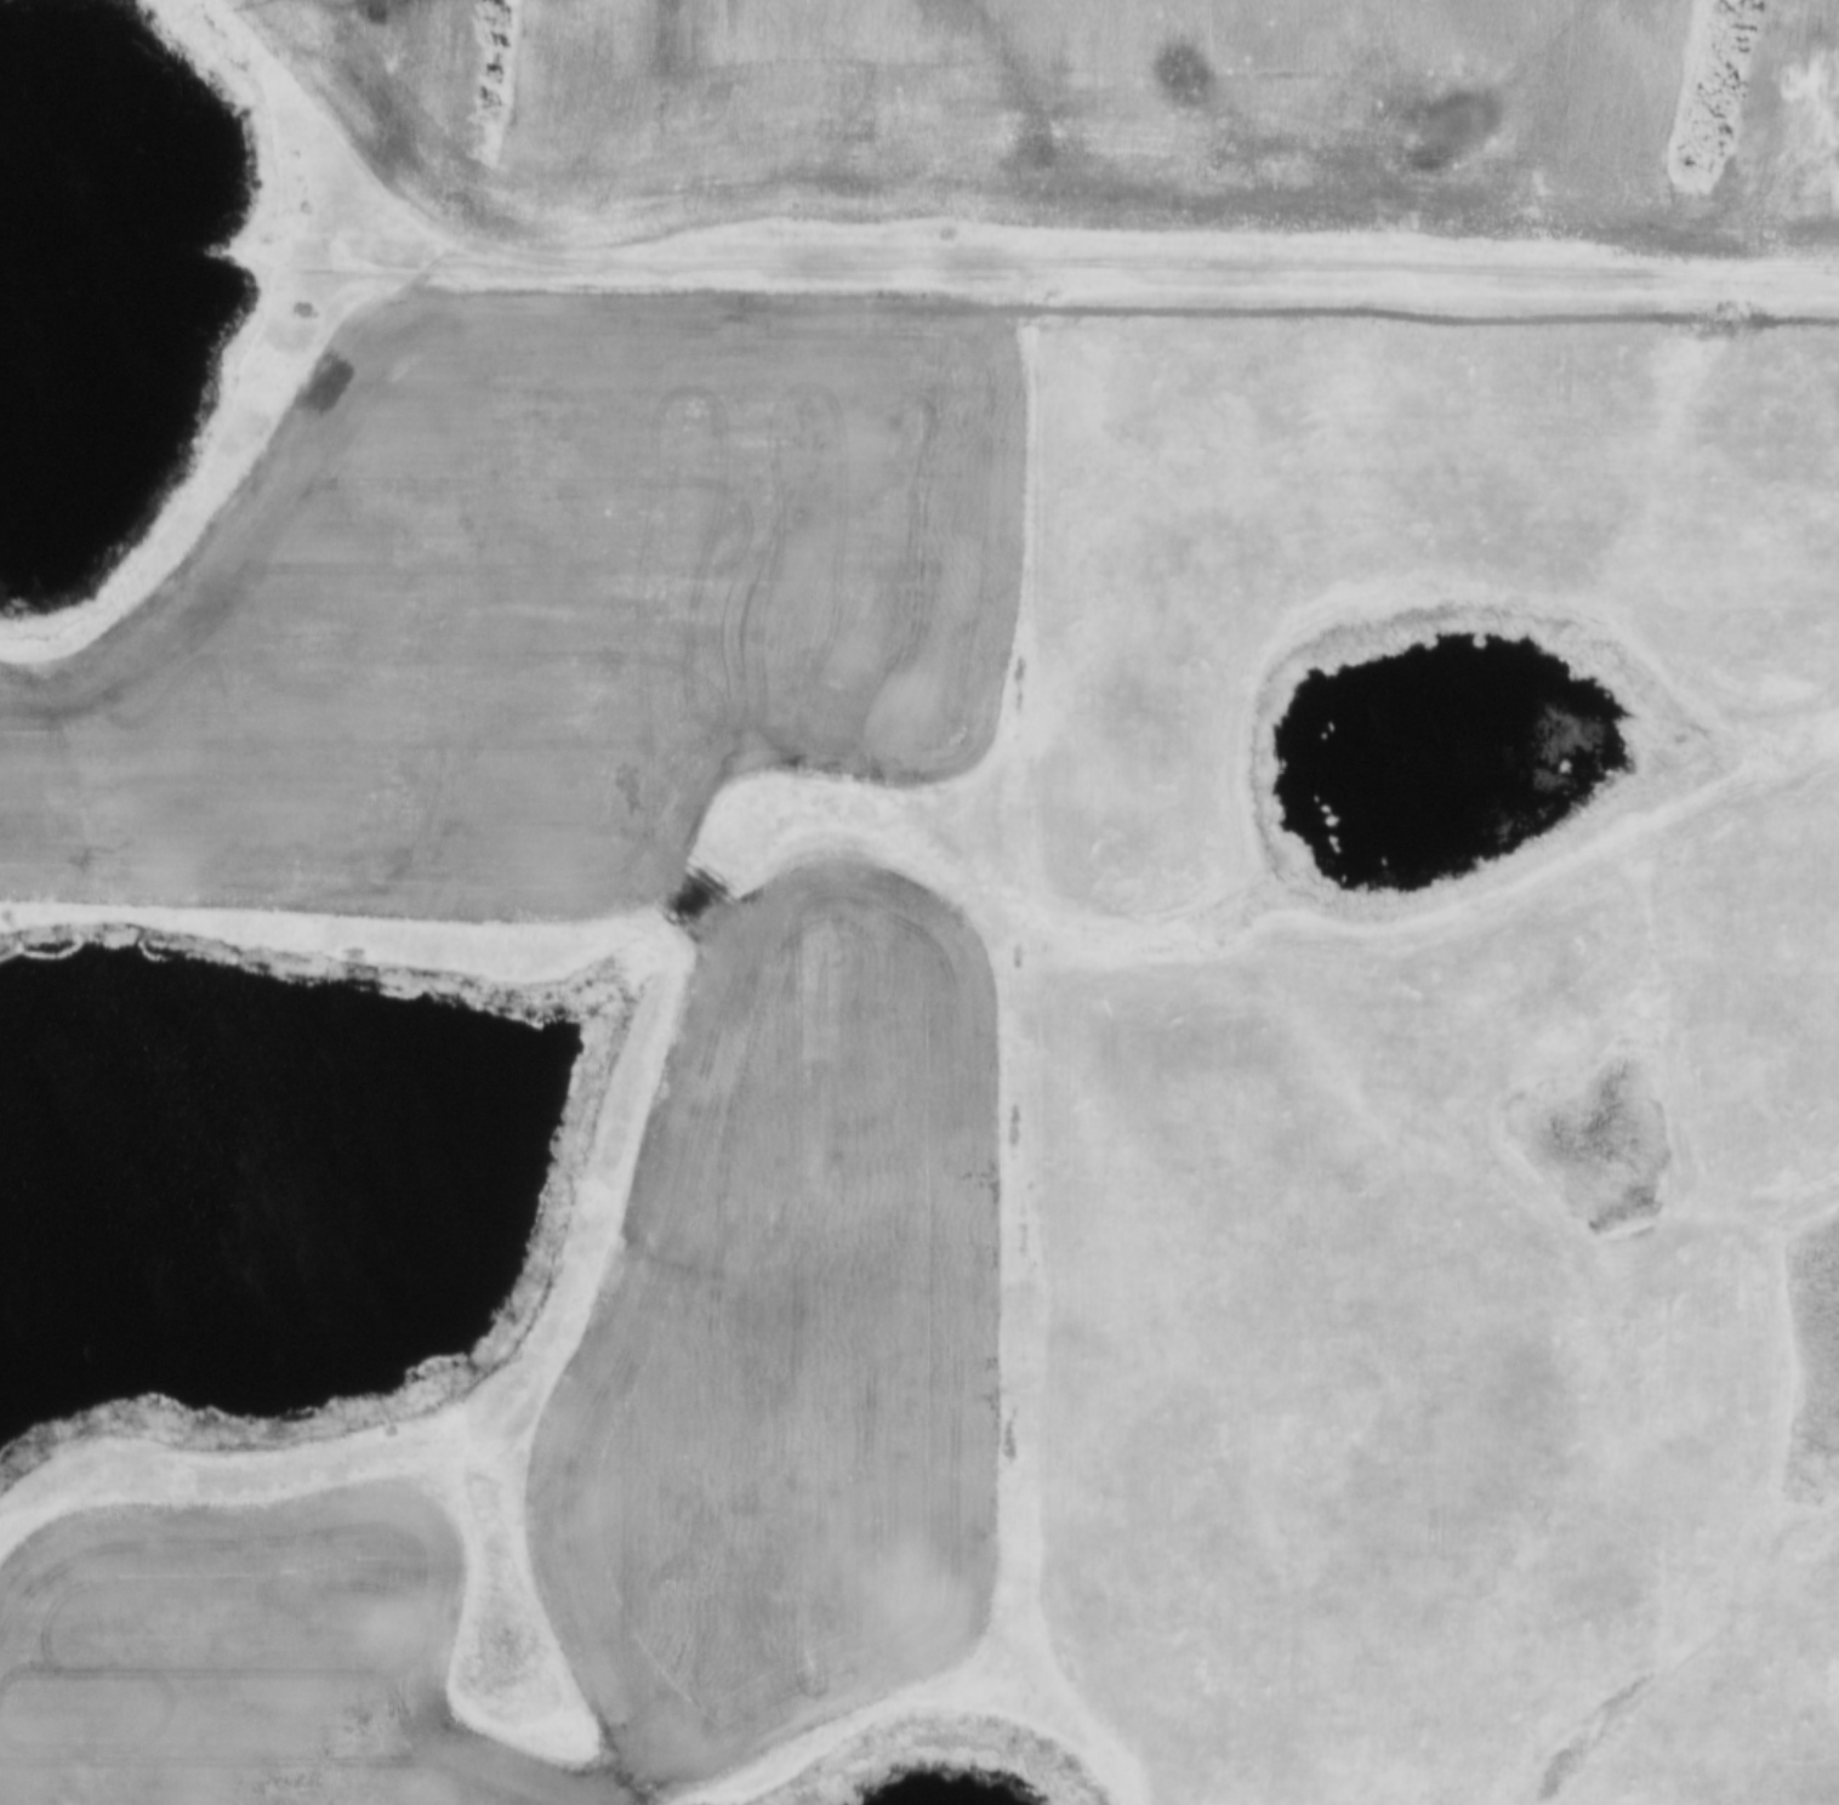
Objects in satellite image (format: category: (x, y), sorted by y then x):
road: (987, 264)

